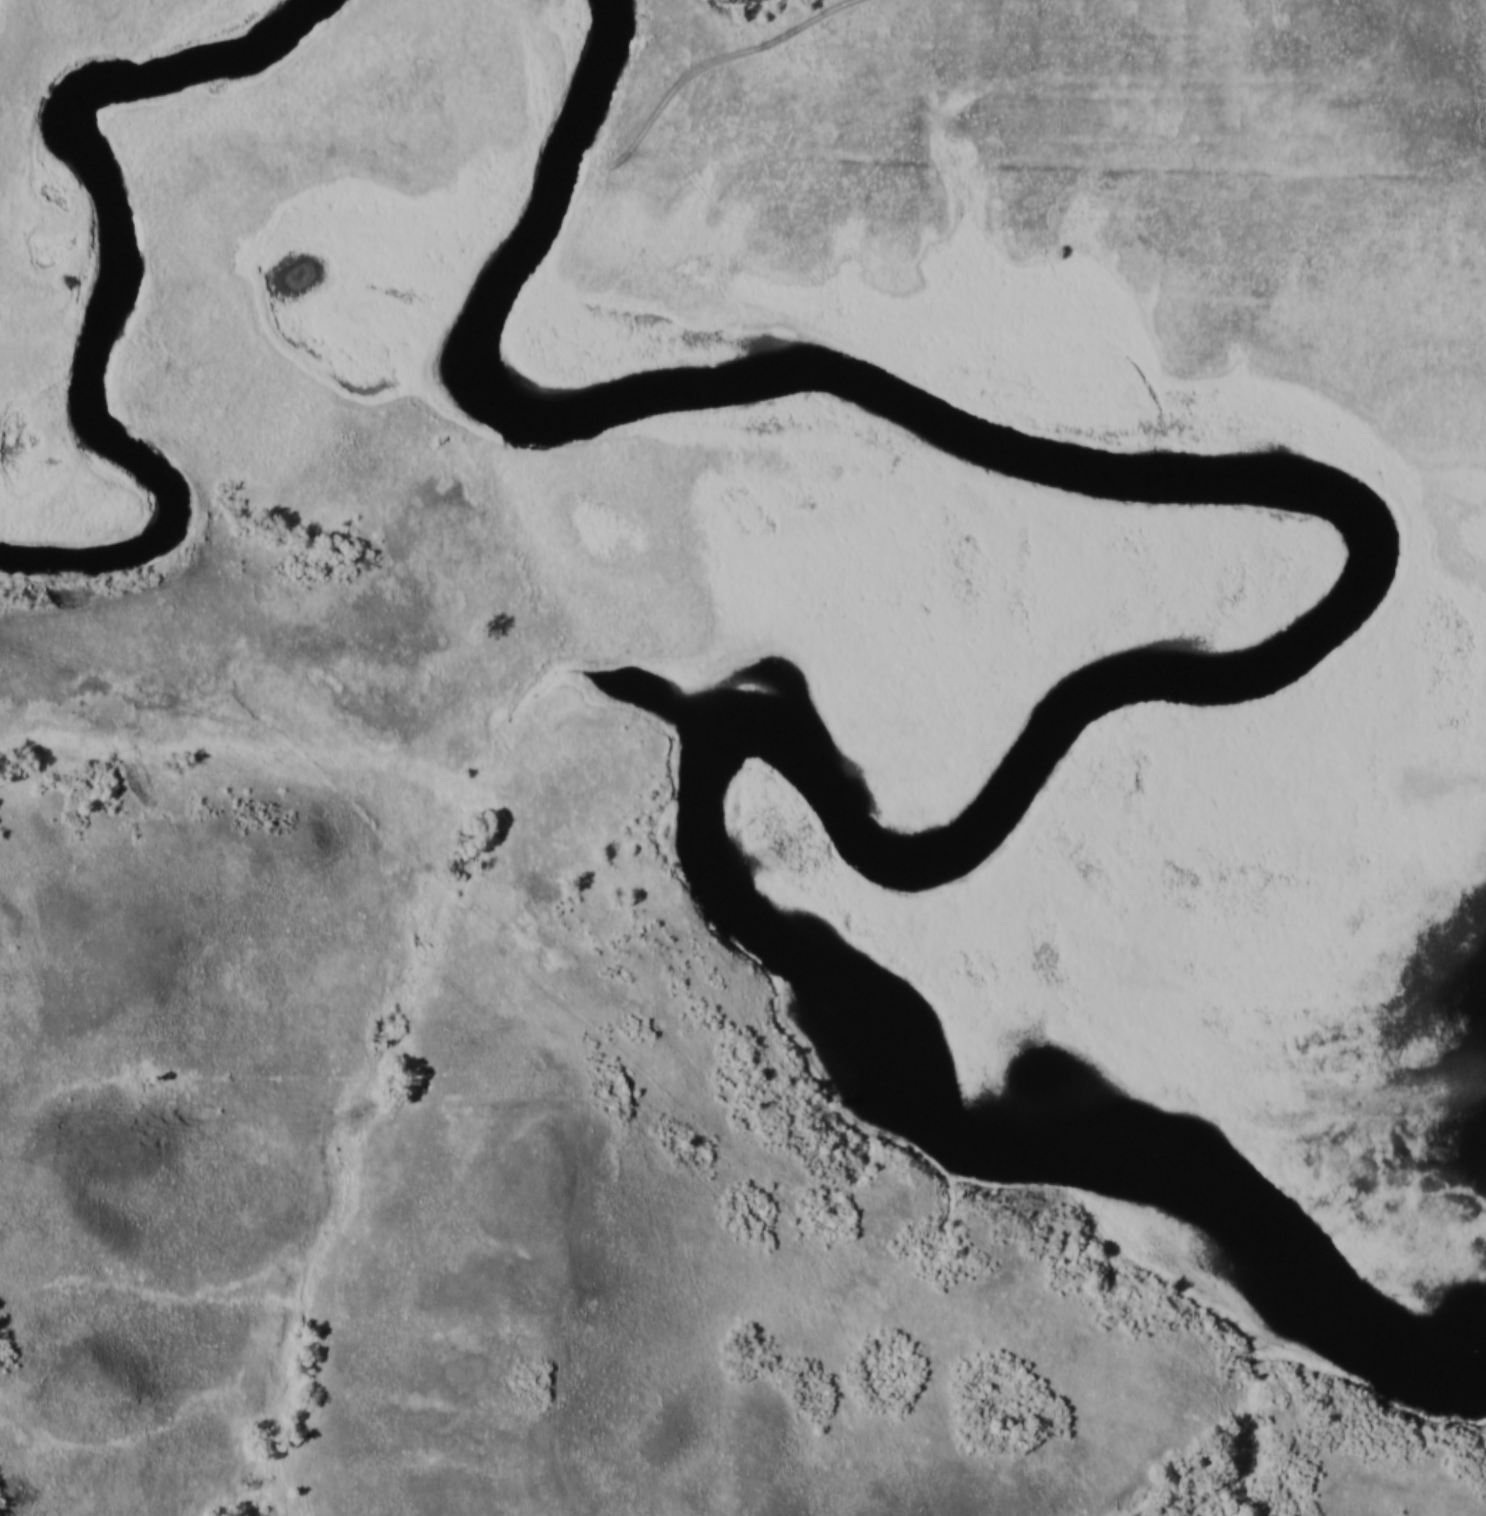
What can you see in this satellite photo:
river: (106, 276)
river: (1090, 698)

